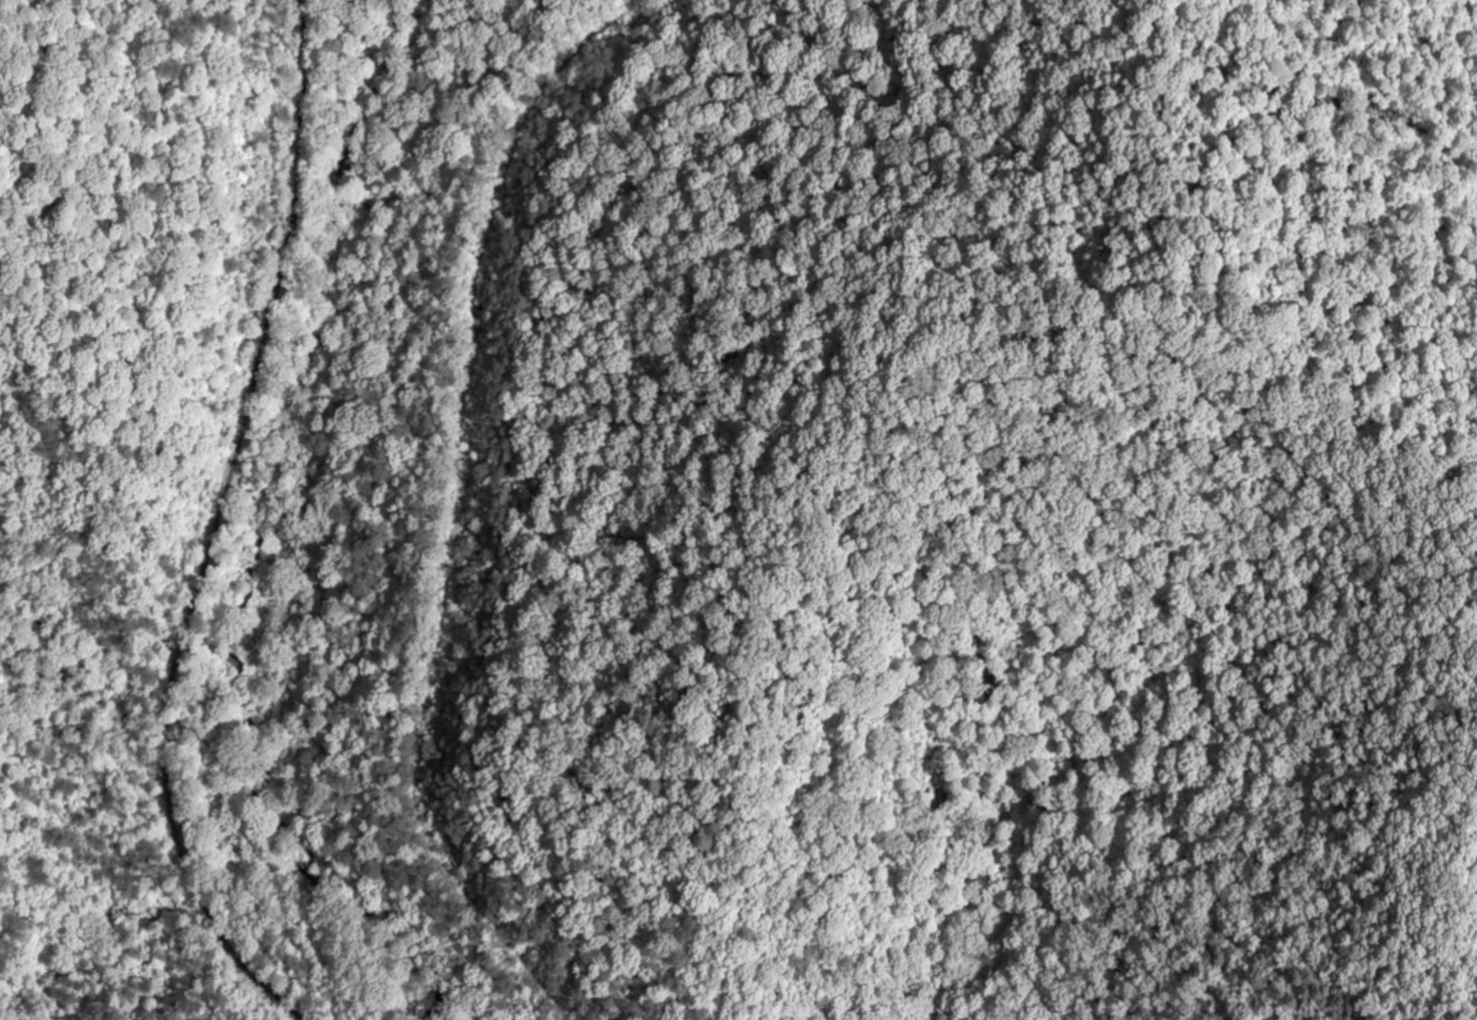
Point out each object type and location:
road: (426, 500)
road: (222, 514)

